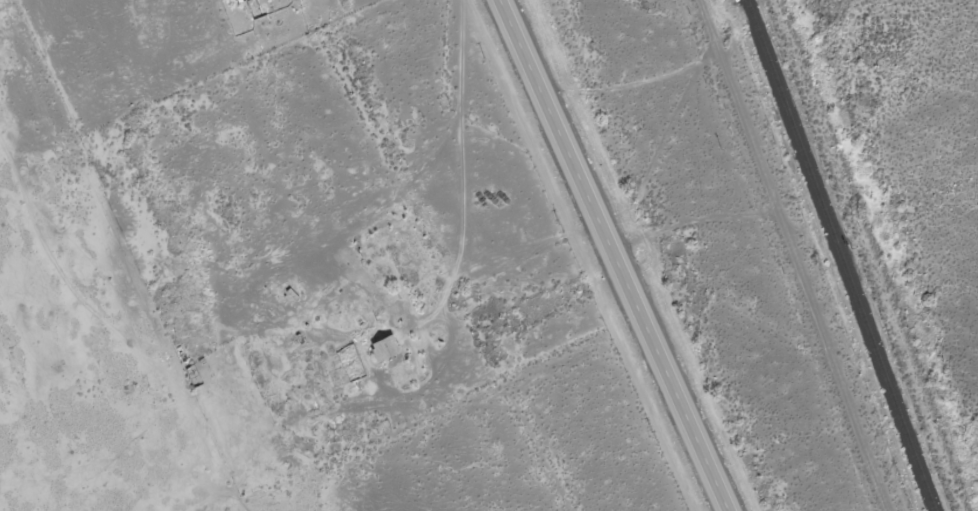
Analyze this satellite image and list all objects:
road: (618, 255)
railway: (840, 255)
road: (463, 270)
building: (366, 291)
building: (383, 349)
building: (193, 378)

